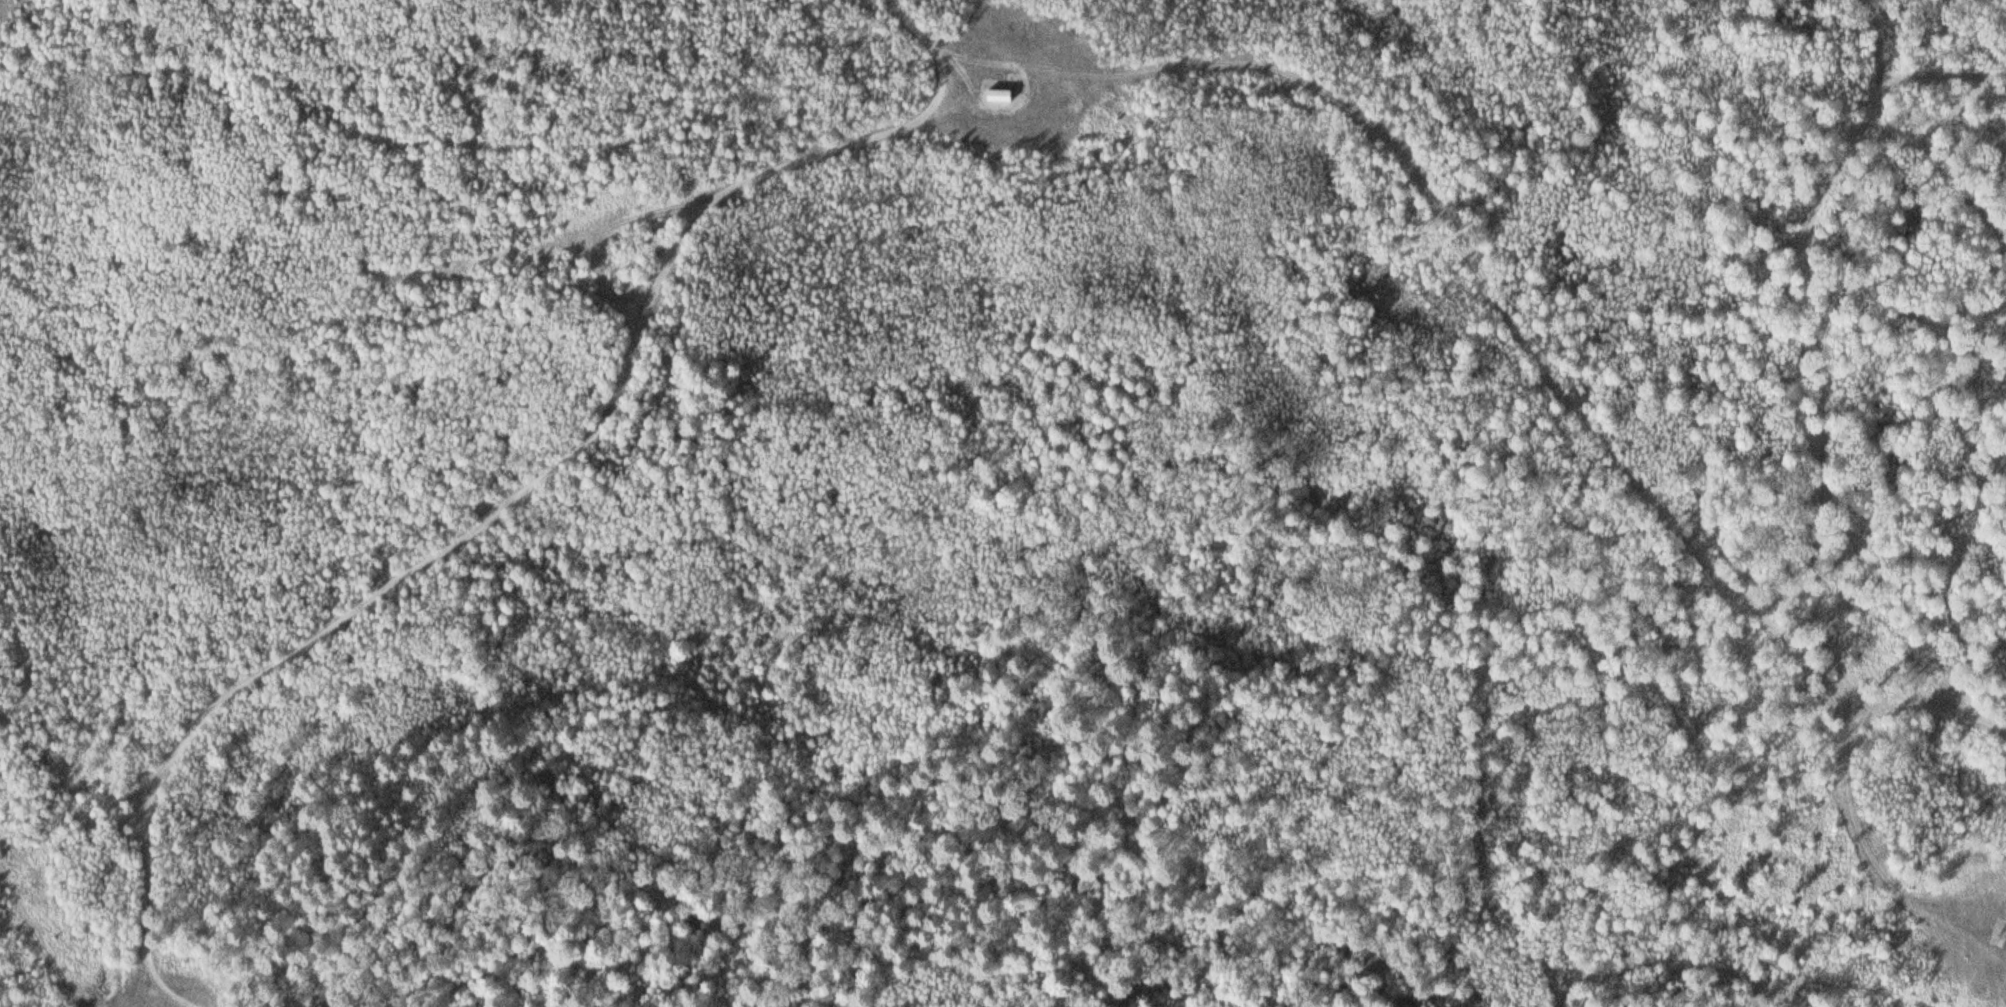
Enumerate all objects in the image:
building: (989, 94)
road: (1507, 317)
road: (527, 489)
road: (1860, 842)

